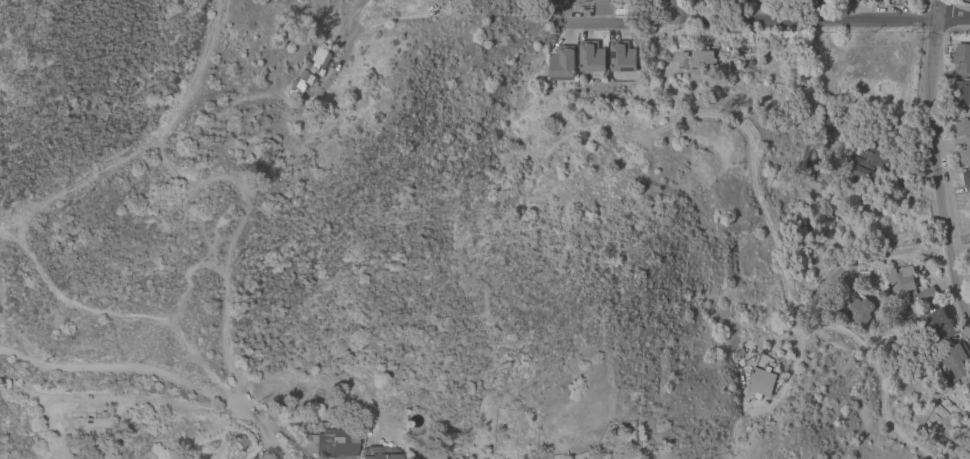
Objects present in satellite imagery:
building: (854, 0)
building: (599, 1)
road: (673, 9)
road: (655, 11)
road: (953, 17)
road: (796, 18)
road: (609, 22)
road: (342, 50)
building: (319, 57)
building: (590, 57)
building: (621, 57)
building: (962, 57)
building: (561, 62)
building: (701, 63)
building: (305, 77)
building: (297, 85)
building: (960, 92)
building: (831, 106)
road: (737, 116)
building: (962, 127)
building: (826, 132)
road: (159, 156)
building: (964, 156)
road: (933, 163)
building: (868, 164)
building: (805, 165)
building: (966, 178)
building: (802, 207)
road: (860, 257)
building: (900, 282)
building: (925, 296)
building: (859, 309)
road: (111, 311)
building: (938, 324)
road: (12, 335)
road: (228, 339)
building: (737, 353)
building: (954, 362)
road: (120, 367)
road: (881, 371)
building: (759, 382)
building: (968, 387)
road: (118, 398)
road: (665, 406)
building: (81, 421)
road: (261, 430)
building: (241, 441)
building: (331, 442)
building: (968, 452)
building: (380, 453)

